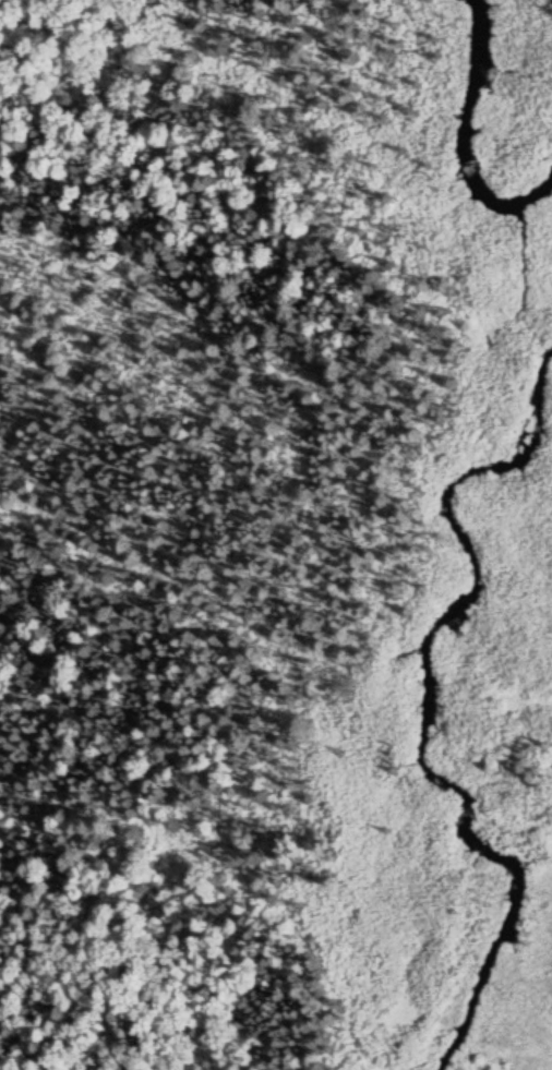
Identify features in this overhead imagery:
river: (465, 132)
river: (415, 716)

